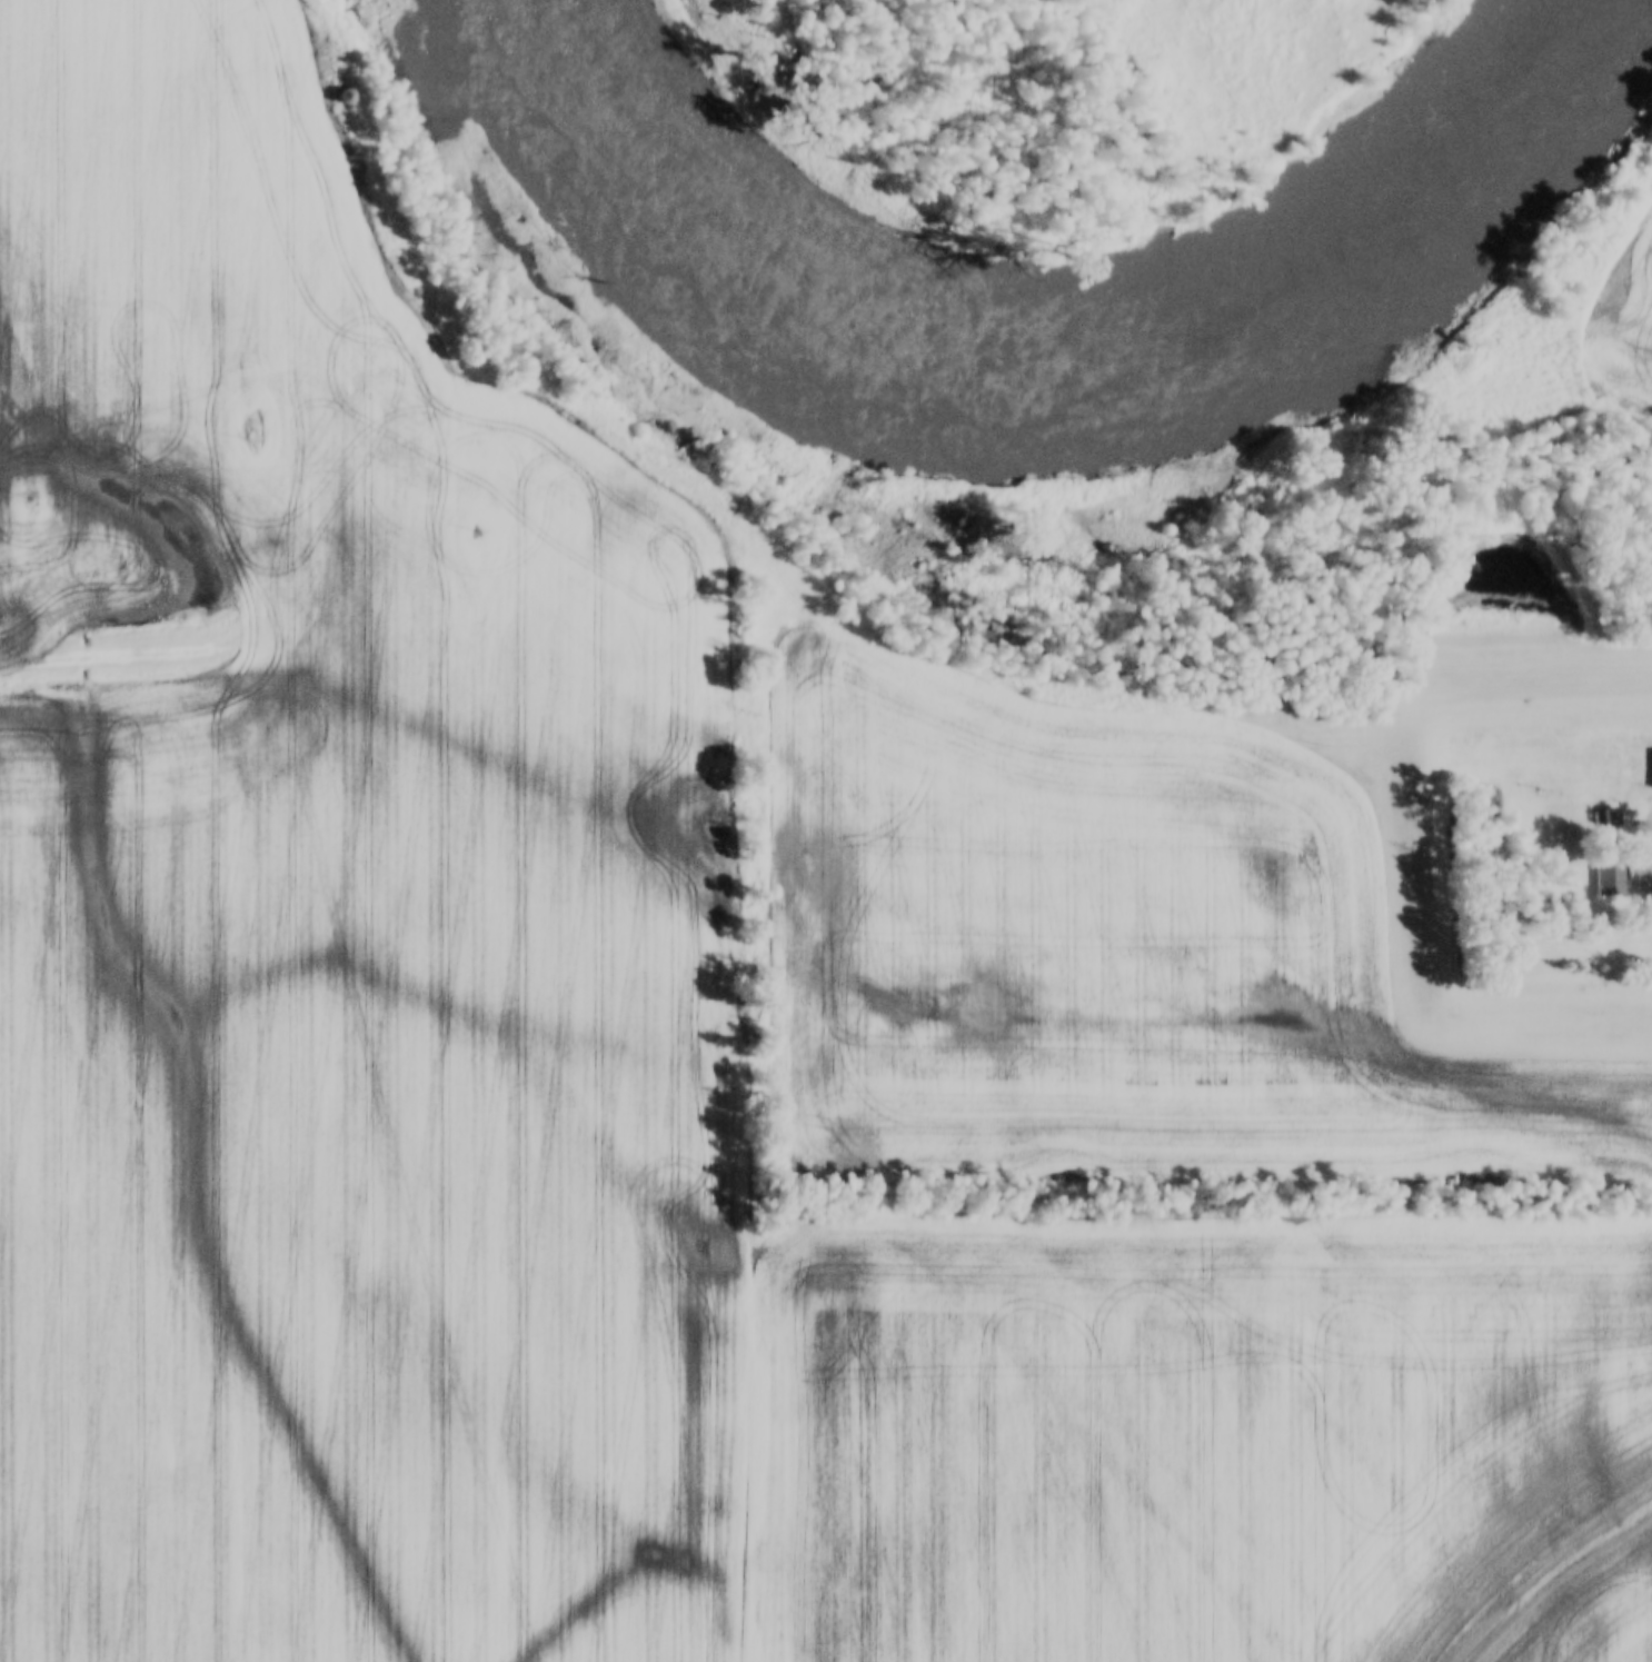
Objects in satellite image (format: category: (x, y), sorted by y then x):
river: (1043, 358)
road: (309, 442)
building: (1613, 817)
building: (1612, 879)
road: (769, 1334)

